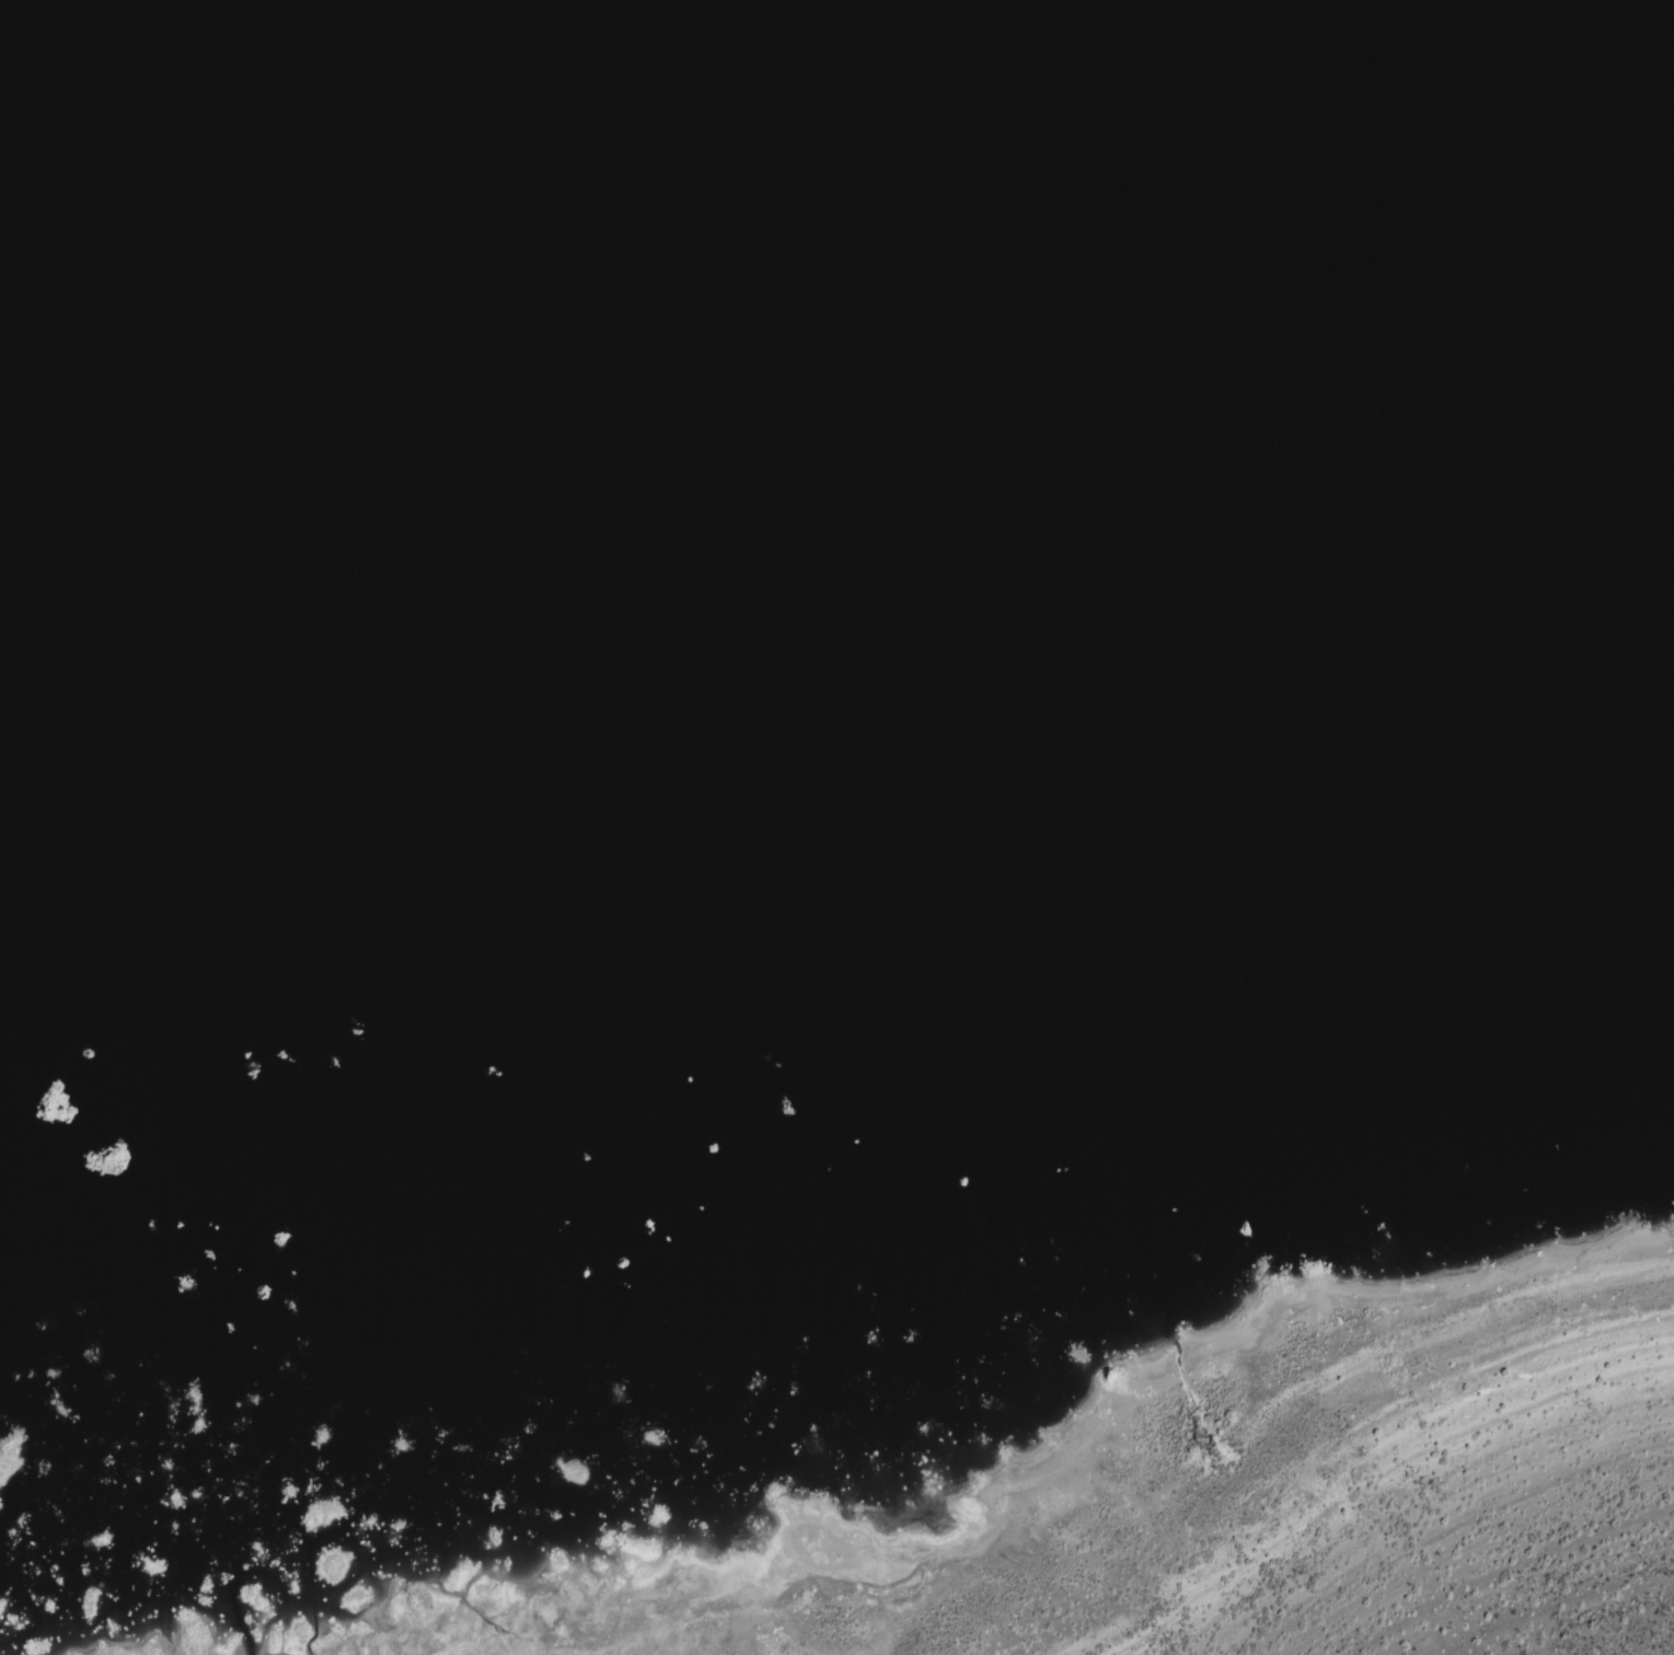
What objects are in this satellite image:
road: (1466, 1651)

